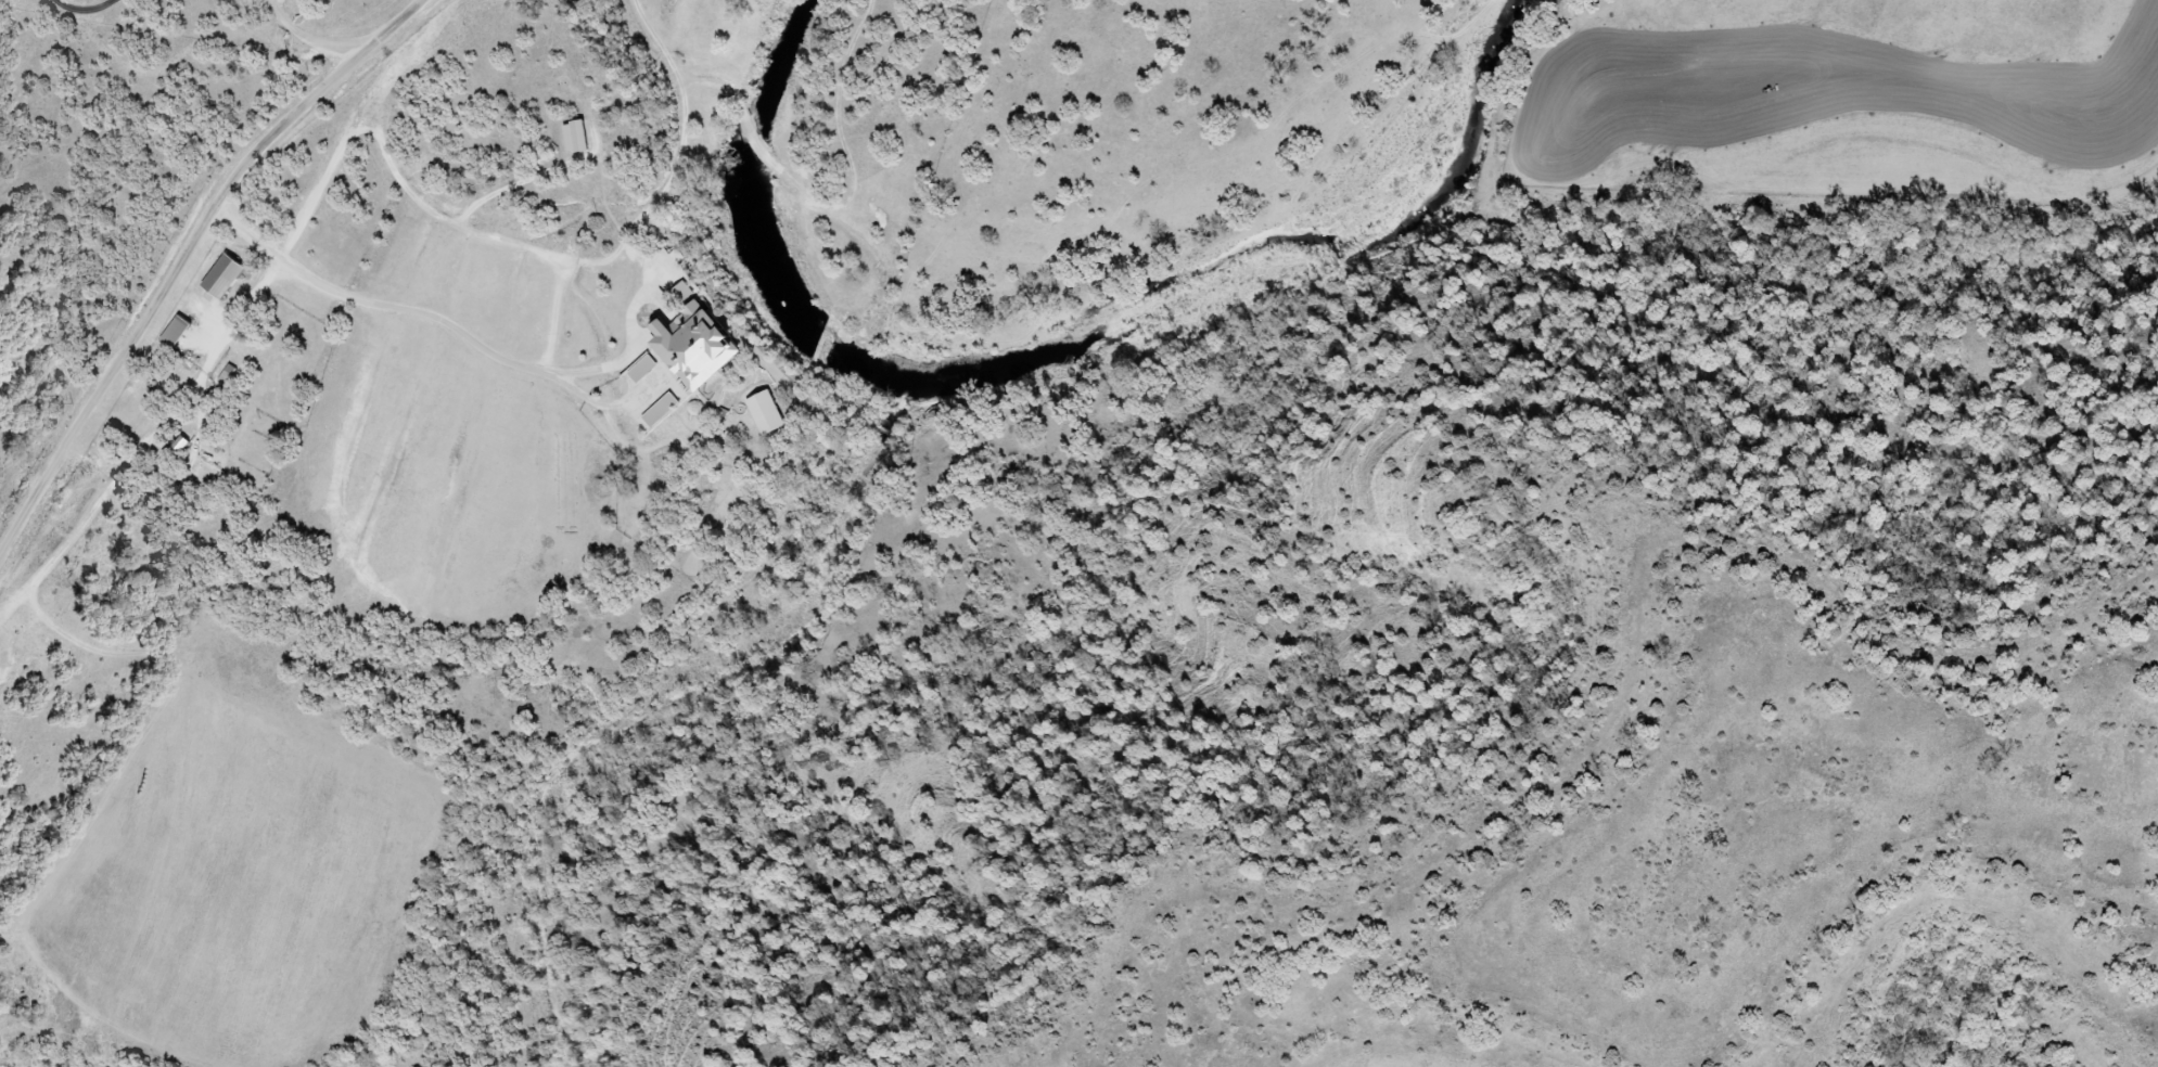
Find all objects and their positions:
road: (85, 11)
road: (297, 50)
road: (399, 69)
building: (571, 138)
road: (414, 217)
road: (184, 260)
building: (220, 280)
road: (429, 317)
road: (240, 325)
building: (173, 334)
building: (687, 346)
river: (1047, 347)

